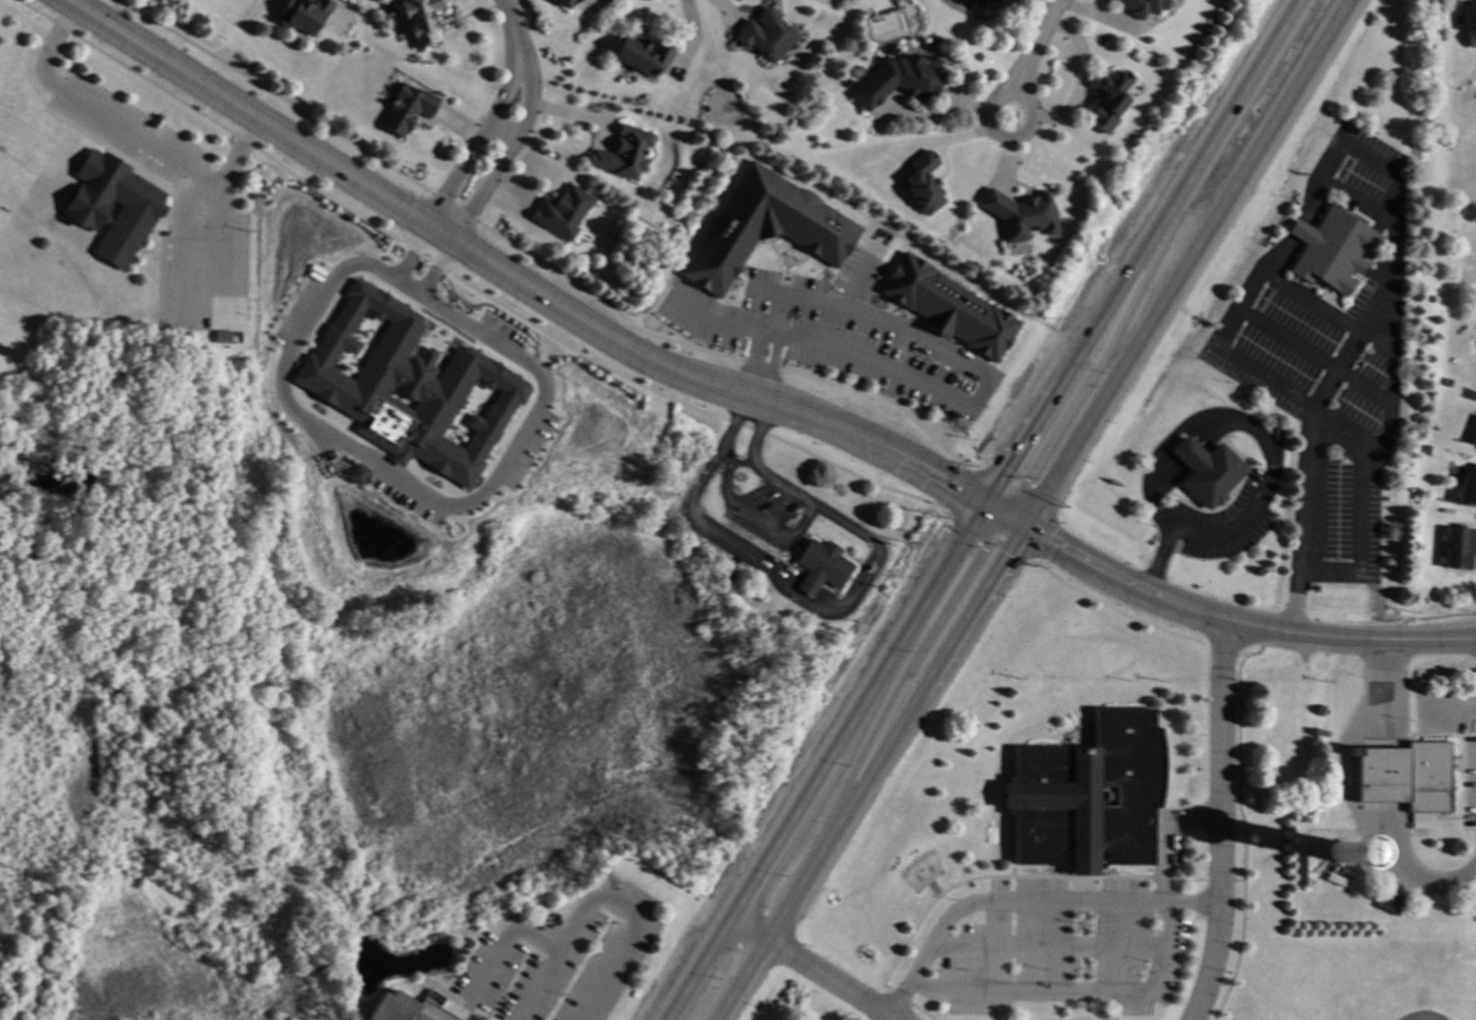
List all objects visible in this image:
building: (566, 2)
building: (1141, 6)
building: (301, 14)
road: (506, 16)
building: (420, 20)
building: (1469, 24)
building: (765, 34)
road: (1033, 48)
building: (642, 55)
building: (896, 80)
road: (271, 94)
building: (1107, 100)
building: (406, 109)
road: (990, 119)
road: (482, 133)
road: (128, 135)
road: (512, 141)
building: (624, 152)
building: (920, 184)
road: (425, 190)
road: (1357, 203)
building: (141, 210)
building: (562, 212)
building: (1018, 214)
building: (764, 227)
road: (1298, 229)
building: (1331, 248)
road: (1137, 251)
road: (1181, 263)
road: (511, 277)
road: (410, 287)
road: (476, 292)
road: (1311, 300)
building: (947, 306)
road: (775, 314)
road: (719, 322)
road: (1393, 336)
building: (222, 338)
road: (753, 361)
road: (1099, 361)
road: (773, 365)
road: (1338, 374)
road: (993, 376)
building: (1445, 380)
building: (409, 387)
road: (1303, 401)
road: (1196, 424)
building: (1475, 438)
road: (738, 463)
building: (1206, 470)
building: (356, 474)
road: (413, 486)
building: (1467, 486)
traffic signals: (983, 504)
road: (747, 512)
road: (1000, 515)
road: (1162, 519)
traffic signals: (1018, 526)
road: (1198, 534)
building: (1459, 547)
building: (820, 567)
building: (729, 576)
road: (1190, 612)
road: (822, 613)
road: (1428, 641)
road: (900, 682)
road: (825, 762)
road: (868, 773)
building: (1403, 775)
building: (1087, 796)
road: (1348, 800)
road: (1220, 822)
park: (1352, 835)
road: (1163, 837)
water tower: (1336, 854)
building: (1307, 860)
building: (1342, 870)
building: (1307, 880)
building: (1334, 880)
road: (606, 894)
road: (997, 902)
building: (1390, 903)
road: (1192, 905)
road: (1075, 925)
road: (1084, 930)
road: (504, 939)
road: (1046, 952)
road: (812, 969)
road: (1151, 979)
park: (1404, 987)
road: (994, 993)
building: (394, 1008)
road: (1085, 1010)
road: (889, 1018)

